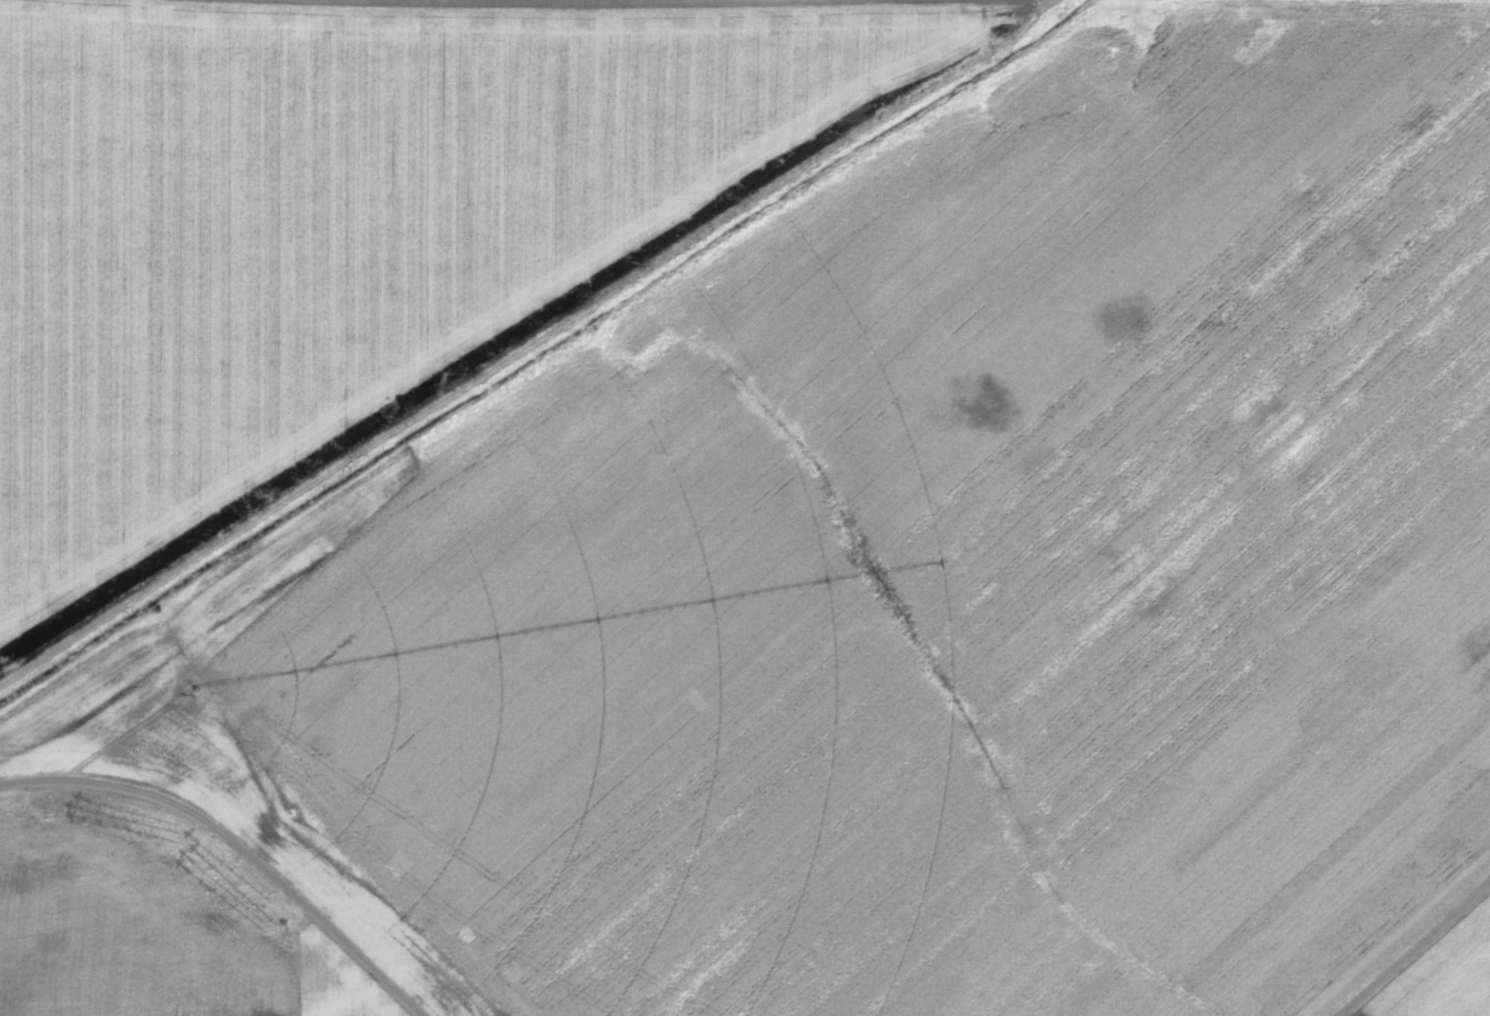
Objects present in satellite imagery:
road: (1412, 948)

